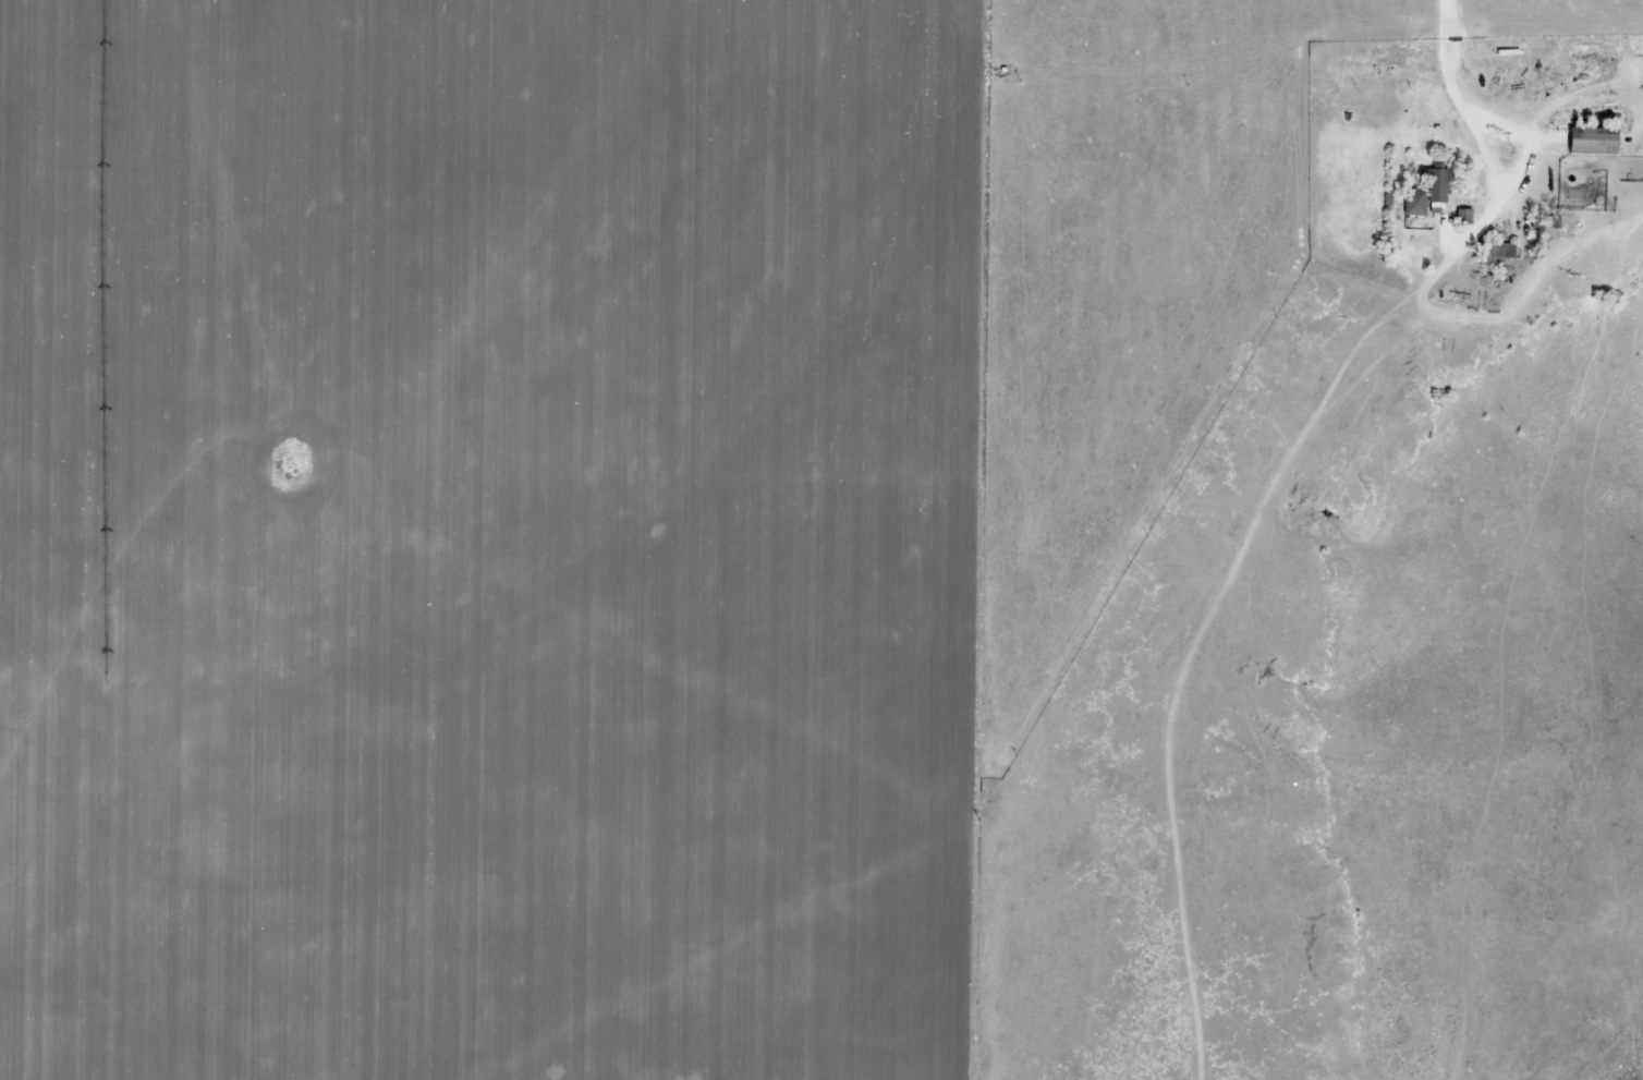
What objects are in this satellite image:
road: (1458, 81)

